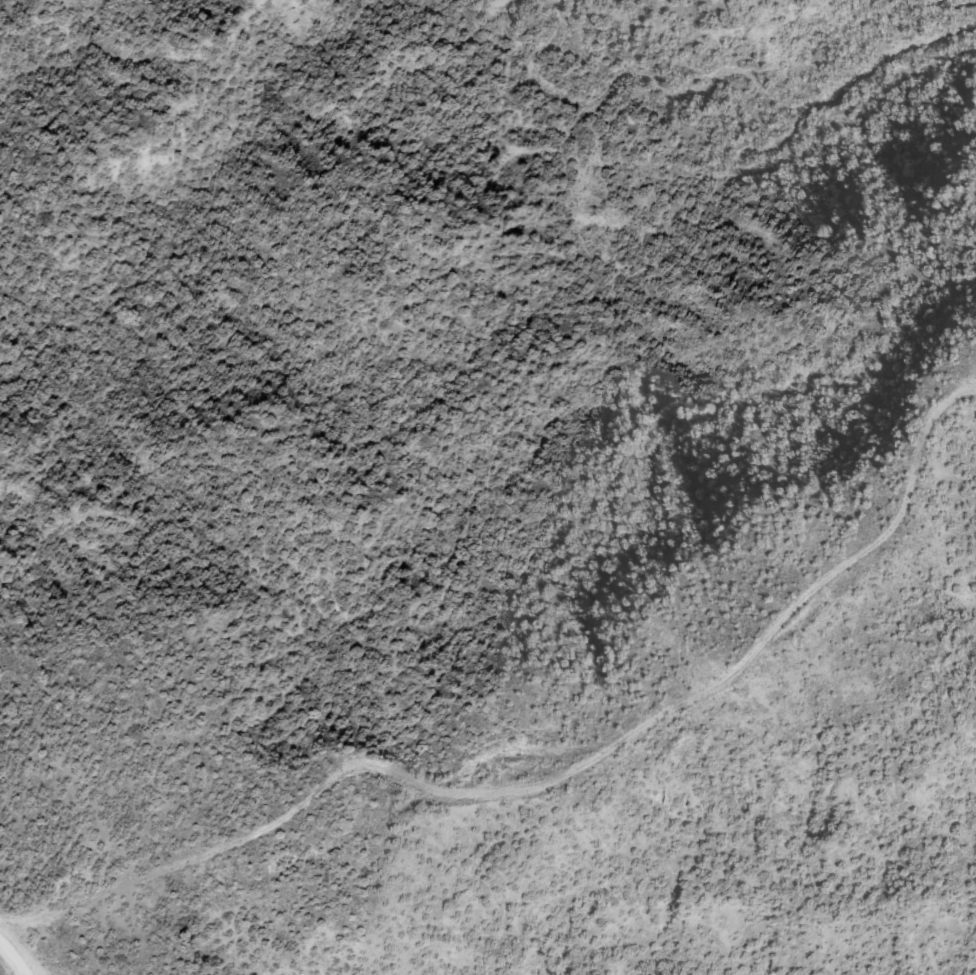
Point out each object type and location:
road: (11, 122)
road: (679, 852)
road: (50, 880)
road: (20, 950)

